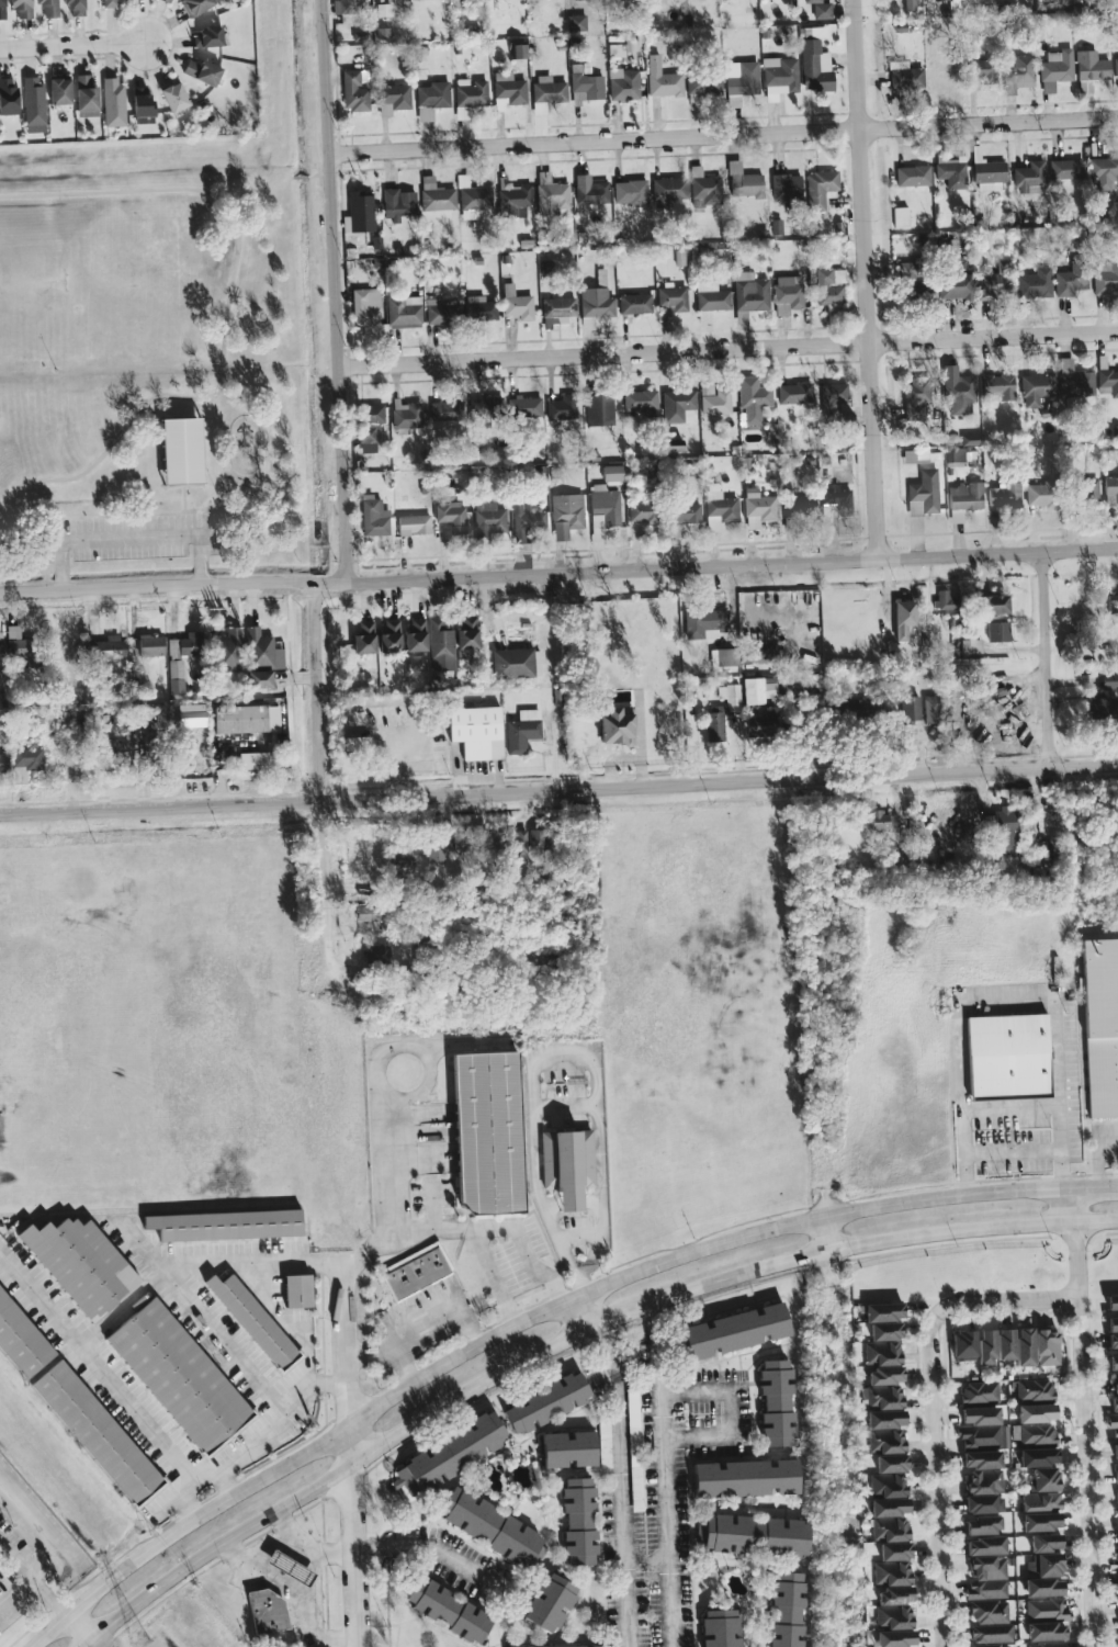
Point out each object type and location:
building: (941, 0)
building: (166, 1)
building: (109, 3)
building: (910, 4)
building: (196, 5)
building: (75, 7)
building: (345, 7)
building: (21, 8)
building: (48, 8)
building: (820, 9)
building: (2, 10)
building: (576, 22)
building: (206, 37)
road: (71, 47)
building: (517, 52)
building: (1116, 63)
building: (814, 66)
building: (1091, 66)
building: (1055, 69)
building: (983, 70)
building: (202, 71)
building: (1018, 74)
building: (779, 77)
building: (905, 77)
building: (662, 79)
building: (739, 80)
building: (586, 81)
building: (703, 83)
building: (623, 84)
building: (1085, 87)
building: (509, 88)
building: (354, 90)
building: (59, 91)
building: (546, 92)
building: (173, 95)
building: (8, 97)
building: (86, 97)
building: (468, 97)
building: (393, 99)
building: (431, 99)
building: (113, 102)
building: (34, 105)
building: (142, 105)
road: (722, 134)
building: (1065, 169)
building: (1103, 171)
building: (950, 172)
road: (318, 173)
building: (986, 173)
building: (912, 176)
road: (301, 177)
building: (1029, 178)
building: (743, 182)
building: (786, 187)
building: (704, 189)
building: (820, 190)
building: (589, 191)
building: (668, 191)
building: (630, 192)
building: (436, 195)
building: (474, 201)
building: (513, 201)
building: (398, 204)
building: (359, 211)
building: (900, 217)
building: (1105, 278)
road: (866, 280)
building: (1070, 280)
building: (994, 282)
building: (1035, 283)
building: (829, 285)
building: (956, 286)
road: (332, 290)
building: (787, 294)
building: (749, 295)
building: (671, 297)
building: (596, 298)
building: (710, 300)
building: (634, 303)
building: (517, 304)
building: (365, 307)
building: (475, 307)
road: (226, 312)
building: (403, 312)
building: (440, 313)
road: (726, 348)
park: (144, 357)
building: (1074, 381)
building: (1108, 381)
building: (998, 385)
building: (707, 388)
building: (1036, 388)
building: (958, 392)
building: (793, 394)
building: (753, 398)
building: (915, 398)
building: (641, 403)
building: (715, 403)
building: (678, 407)
building: (486, 408)
building: (561, 408)
building: (598, 409)
building: (445, 410)
building: (408, 417)
building: (971, 439)
building: (181, 451)
building: (955, 454)
building: (915, 456)
building: (612, 474)
building: (1086, 492)
building: (923, 494)
building: (1039, 494)
building: (1004, 495)
building: (964, 496)
building: (835, 500)
building: (605, 504)
building: (719, 508)
building: (758, 508)
building: (799, 508)
building: (567, 510)
building: (642, 511)
building: (684, 516)
building: (374, 517)
building: (451, 517)
building: (488, 518)
building: (526, 521)
building: (790, 523)
building: (414, 524)
road: (127, 537)
road: (558, 573)
building: (944, 600)
building: (994, 603)
building: (1113, 611)
building: (903, 619)
building: (702, 622)
building: (997, 631)
building: (389, 635)
building: (416, 636)
building: (466, 636)
building: (364, 639)
building: (150, 645)
building: (185, 645)
building: (441, 645)
building: (971, 645)
building: (106, 648)
building: (229, 650)
building: (262, 650)
building: (23, 652)
building: (765, 653)
building: (723, 657)
building: (0, 659)
road: (1048, 659)
building: (516, 663)
building: (176, 677)
building: (259, 679)
building: (1109, 681)
building: (758, 690)
building: (848, 706)
building: (1103, 707)
building: (908, 708)
building: (930, 710)
building: (722, 711)
building: (191, 714)
building: (246, 719)
building: (761, 724)
building: (616, 726)
building: (521, 731)
building: (476, 732)
building: (355, 744)
building: (149, 749)
building: (116, 753)
building: (256, 760)
building: (3, 763)
building: (25, 763)
road: (321, 780)
road: (558, 789)
building: (882, 820)
building: (1005, 827)
building: (489, 839)
building: (538, 839)
building: (460, 845)
building: (518, 845)
building: (434, 851)
building: (402, 860)
building: (366, 913)
building: (377, 954)
building: (1100, 1026)
building: (1007, 1057)
road: (546, 1060)
road: (424, 1090)
road: (1059, 1096)
road: (564, 1107)
road: (967, 1108)
building: (486, 1132)
road: (1096, 1155)
road: (1013, 1157)
building: (566, 1165)
road: (1070, 1209)
building: (224, 1225)
road: (399, 1227)
road: (825, 1238)
road: (144, 1249)
road: (530, 1251)
building: (80, 1264)
building: (415, 1270)
building: (296, 1290)
road: (38, 1299)
road: (1003, 1301)
road: (417, 1305)
road: (645, 1317)
road: (585, 1318)
road: (109, 1321)
road: (539, 1321)
building: (255, 1322)
building: (735, 1331)
building: (21, 1340)
building: (1005, 1344)
road: (566, 1345)
building: (963, 1345)
road: (230, 1346)
building: (1024, 1346)
building: (986, 1347)
building: (1047, 1347)
road: (373, 1349)
road: (603, 1354)
building: (883, 1356)
building: (1113, 1361)
building: (180, 1378)
building: (1034, 1389)
building: (979, 1392)
building: (545, 1402)
building: (776, 1403)
road: (729, 1412)
building: (1036, 1413)
building: (982, 1429)
road: (272, 1430)
building: (884, 1432)
building: (1031, 1433)
building: (99, 1435)
road: (1084, 1436)
building: (603, 1444)
building: (567, 1448)
building: (1115, 1449)
building: (634, 1451)
building: (449, 1455)
road: (354, 1457)
building: (1038, 1457)
building: (1117, 1470)
building: (982, 1471)
road: (203, 1476)
building: (889, 1476)
road: (933, 1476)
building: (745, 1478)
building: (1043, 1479)
road: (665, 1484)
road: (171, 1501)
building: (1040, 1501)
building: (983, 1503)
road: (624, 1511)
building: (889, 1519)
road: (42, 1521)
building: (578, 1521)
building: (1040, 1522)
building: (983, 1525)
building: (490, 1527)
building: (753, 1534)
building: (1044, 1543)
road: (267, 1544)
building: (985, 1546)
road: (309, 1548)
road: (431, 1549)
road: (14, 1561)
building: (892, 1565)
building: (290, 1568)
road: (32, 1576)
building: (1044, 1576)
building: (986, 1578)
road: (317, 1592)
road: (295, 1594)
road: (48, 1600)
building: (549, 1602)
building: (893, 1607)
building: (787, 1610)
building: (448, 1611)
building: (267, 1612)
building: (1046, 1618)
building: (720, 1628)
road: (79, 1632)
building: (992, 1634)
building: (895, 1638)
power tower: (139, 1640)
building: (1116, 1640)
building: (1047, 1645)
building: (568, 1646)
building: (992, 1646)

